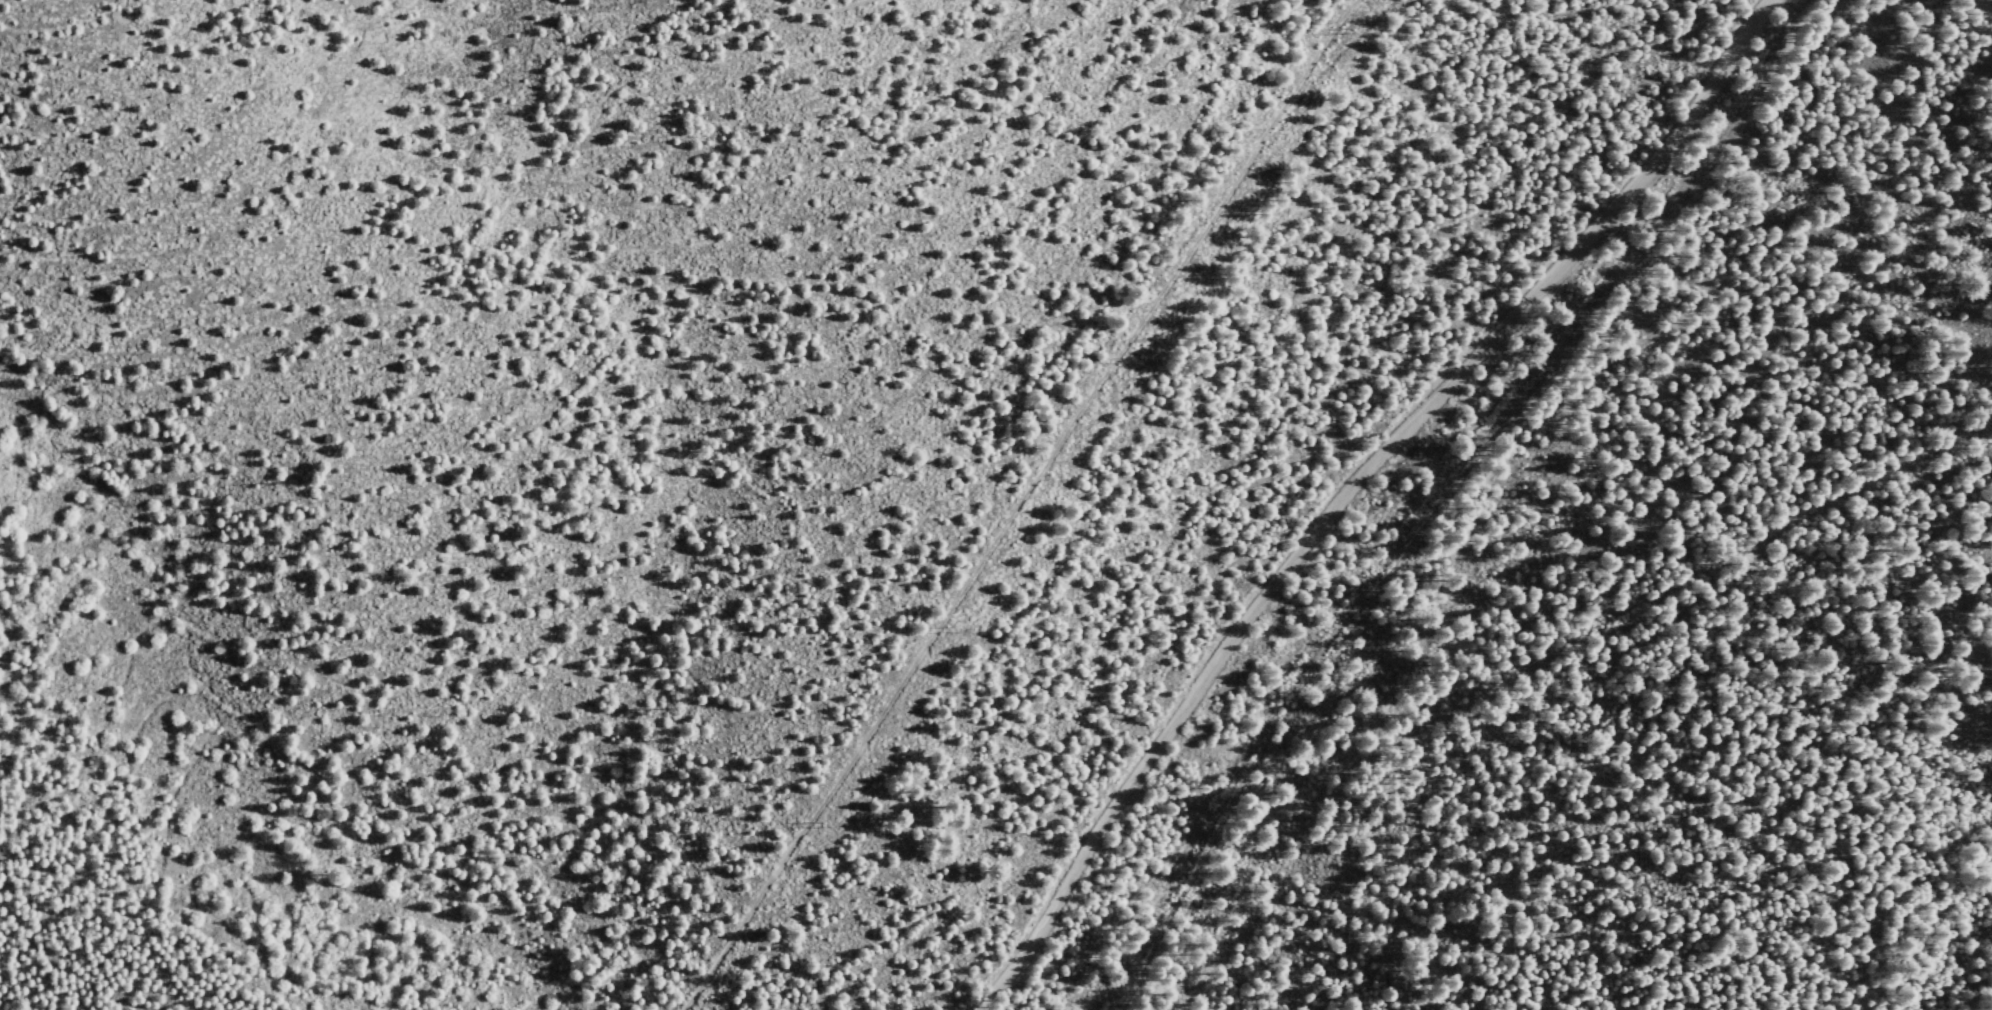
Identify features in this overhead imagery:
road: (1987, 5)
road: (826, 11)
power tower: (1343, 32)
power tower: (1123, 360)
road: (1350, 488)
road: (1003, 501)
power tower: (943, 629)
power tower: (820, 826)

